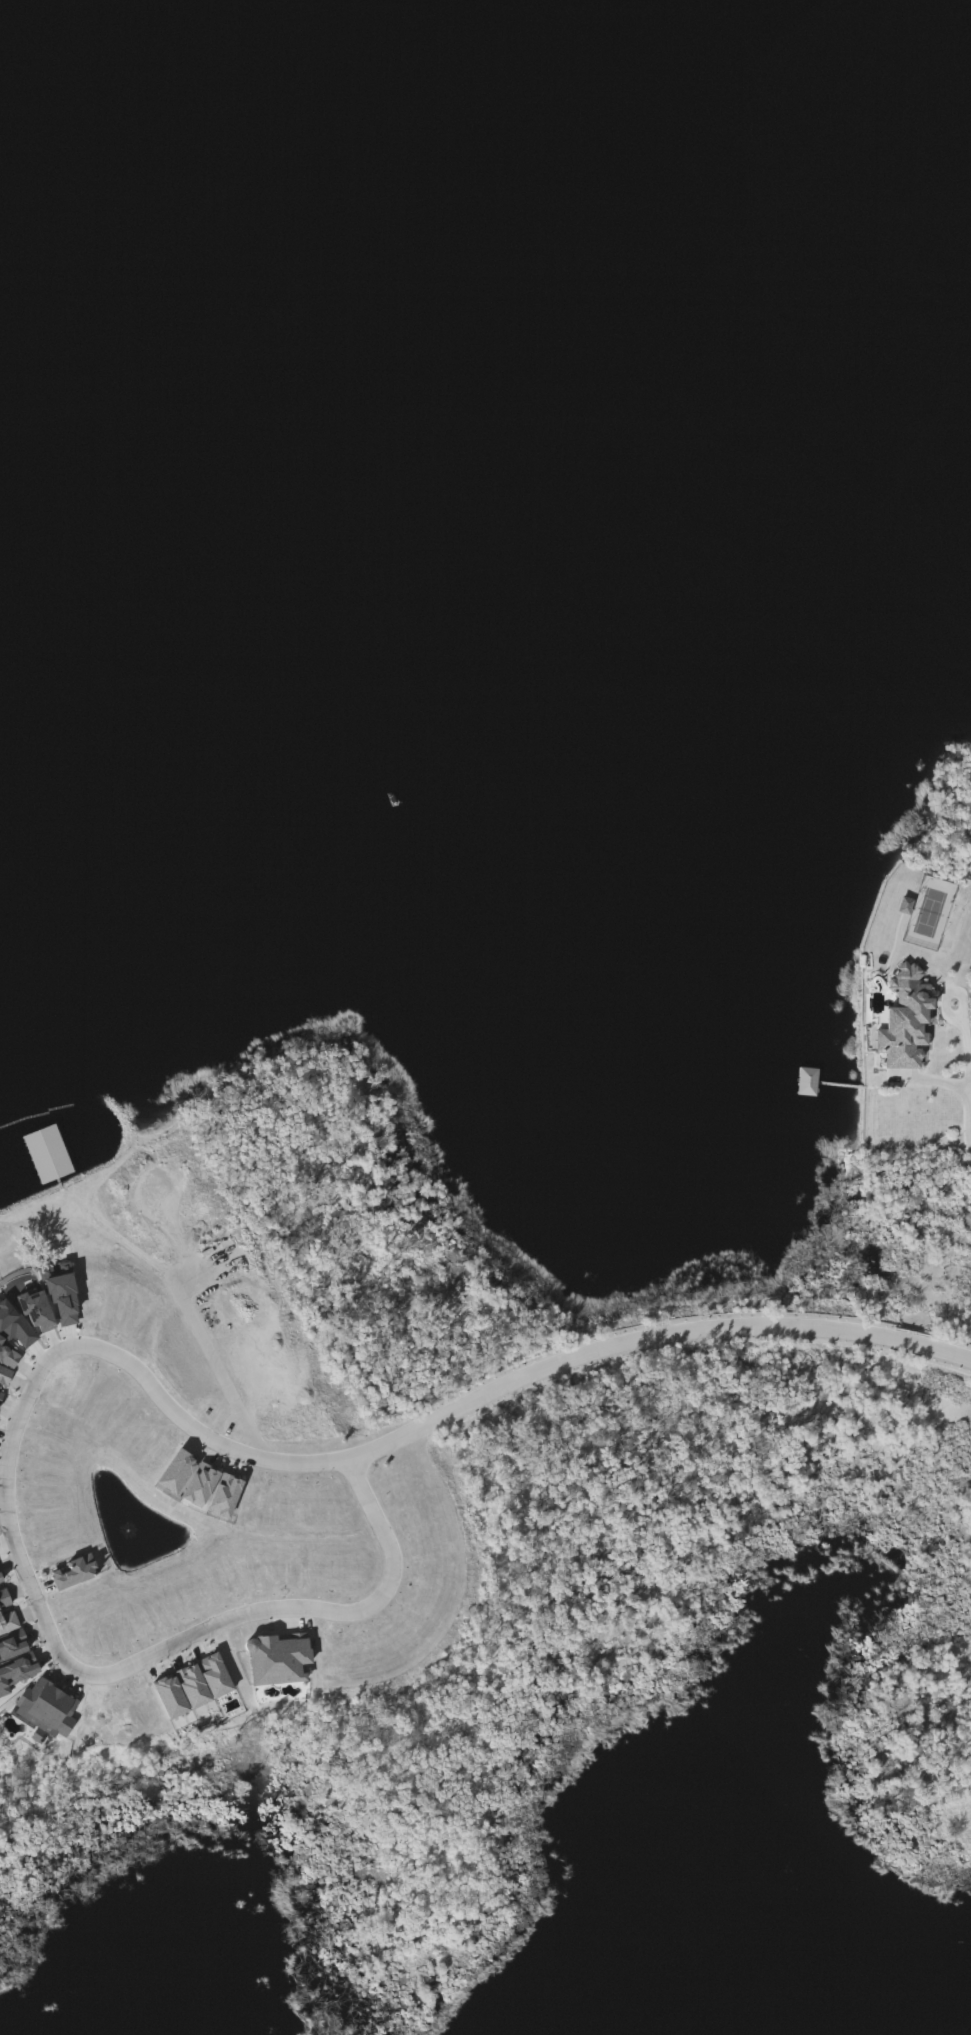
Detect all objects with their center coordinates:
river: (119, 154)
road: (962, 1033)
road: (653, 1337)
road: (141, 1377)
road: (202, 1629)

